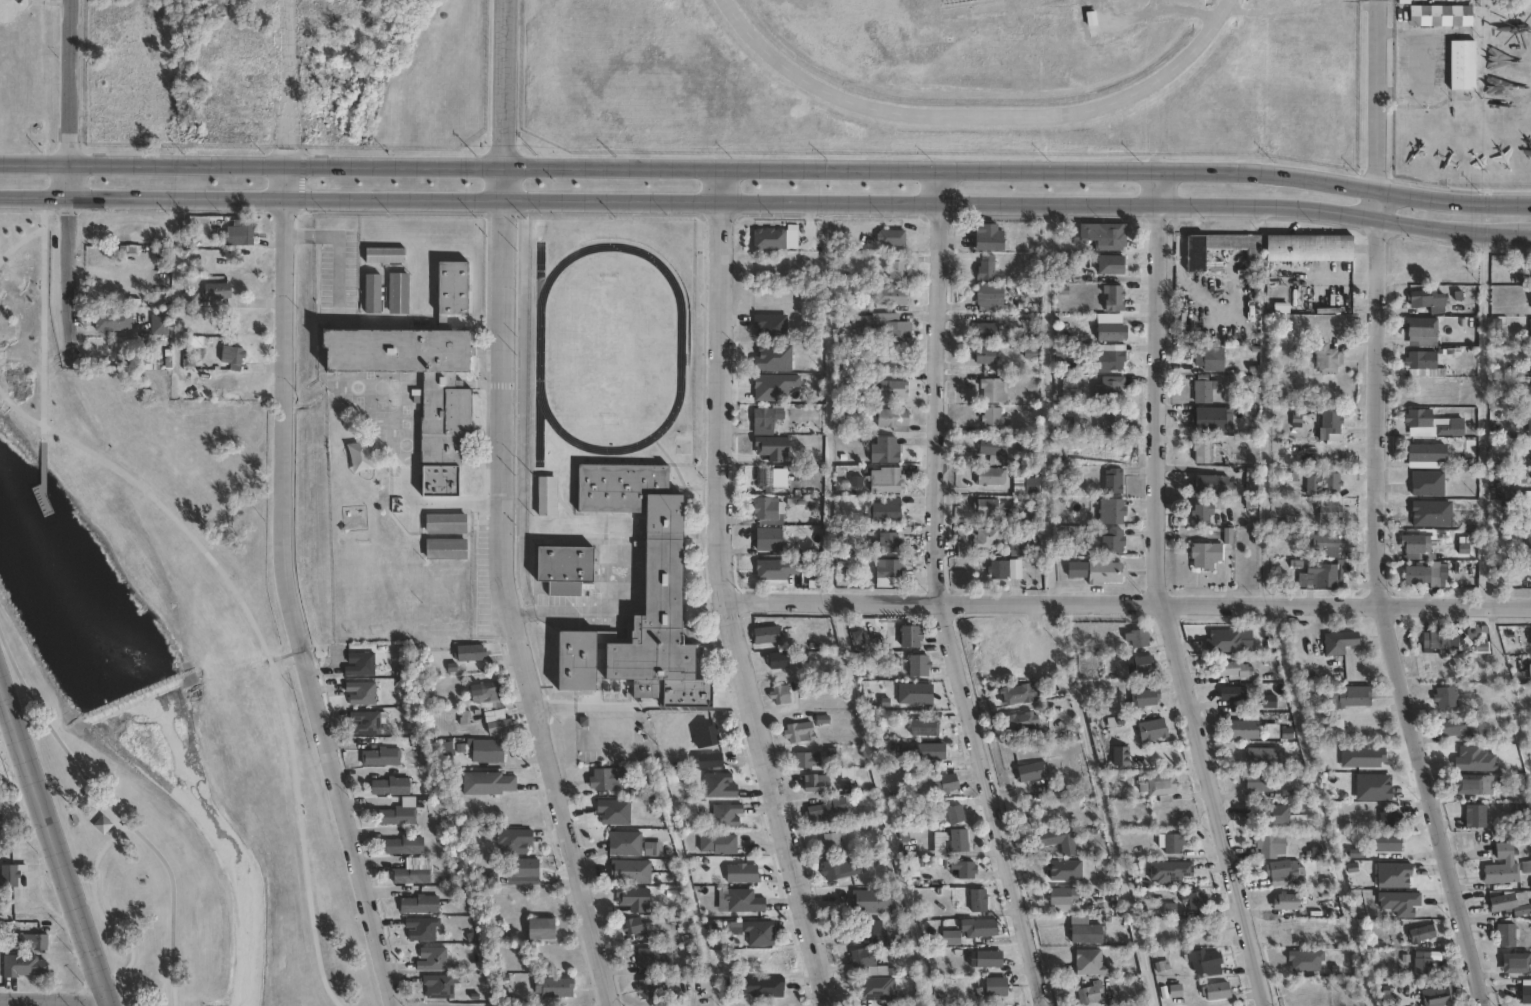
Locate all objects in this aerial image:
building: (1442, 15)
road: (1142, 17)
building: (1461, 63)
park: (23, 64)
airport: (943, 76)
road: (1377, 95)
road: (74, 97)
road: (289, 99)
road: (767, 167)
road: (764, 197)
building: (235, 233)
building: (1102, 236)
building: (890, 237)
building: (985, 237)
road: (1528, 237)
road: (18, 239)
building: (1308, 248)
building: (381, 255)
building: (1194, 255)
building: (1109, 264)
building: (896, 267)
building: (984, 268)
road: (75, 281)
building: (213, 291)
building: (373, 294)
building: (398, 294)
building: (890, 296)
building: (988, 297)
building: (1112, 298)
building: (188, 300)
building: (1427, 300)
building: (860, 320)
building: (109, 321)
building: (157, 325)
building: (769, 326)
building: (1417, 327)
building: (896, 330)
building: (1108, 330)
building: (1496, 330)
building: (986, 331)
building: (1527, 340)
park: (609, 346)
track: (679, 348)
building: (984, 355)
building: (232, 356)
building: (1060, 357)
building: (1107, 358)
building: (1325, 358)
building: (1209, 359)
building: (148, 362)
building: (1424, 364)
building: (422, 375)
road: (282, 386)
building: (891, 389)
building: (1109, 389)
building: (992, 390)
building: (1202, 392)
building: (1528, 395)
road: (1046, 401)
road: (18, 410)
building: (993, 418)
building: (1418, 418)
building: (892, 419)
building: (1530, 419)
building: (764, 420)
building: (1211, 420)
building: (1253, 421)
building: (1114, 422)
road: (1483, 422)
building: (1329, 423)
building: (1451, 428)
building: (1422, 432)
building: (1530, 433)
building: (991, 447)
building: (884, 450)
building: (1202, 452)
building: (1423, 453)
building: (1518, 476)
building: (986, 477)
building: (1251, 478)
building: (767, 480)
building: (884, 480)
building: (1112, 481)
building: (1322, 483)
building: (1210, 484)
building: (1427, 484)
building: (1031, 486)
building: (1512, 494)
building: (546, 495)
building: (985, 507)
building: (764, 508)
road: (500, 510)
building: (883, 511)
building: (1110, 512)
building: (1328, 512)
building: (1022, 513)
building: (1200, 513)
building: (1529, 513)
building: (443, 523)
building: (1287, 523)
building: (768, 539)
building: (985, 539)
building: (1528, 541)
building: (1324, 542)
building: (1112, 543)
building: (885, 544)
building: (1416, 547)
building: (443, 548)
building: (1016, 550)
building: (1204, 556)
building: (661, 562)
building: (561, 563)
building: (997, 570)
building: (1094, 572)
building: (886, 573)
building: (1322, 575)
building: (1416, 575)
road: (222, 576)
road: (724, 593)
road: (935, 594)
road: (1159, 594)
road: (1128, 601)
road: (1383, 604)
building: (765, 635)
building: (909, 636)
building: (1137, 638)
building: (1475, 638)
building: (1435, 639)
building: (1338, 643)
building: (467, 653)
building: (775, 661)
building: (1142, 664)
building: (357, 665)
building: (917, 666)
building: (1529, 669)
building: (1231, 671)
park: (161, 673)
building: (359, 693)
building: (1232, 694)
building: (484, 695)
building: (779, 695)
building: (1016, 695)
building: (1445, 697)
building: (1143, 699)
building: (1344, 704)
building: (493, 716)
building: (1019, 721)
building: (364, 722)
building: (922, 728)
building: (498, 729)
building: (1151, 730)
building: (1242, 730)
building: (1463, 730)
building: (798, 732)
building: (703, 735)
building: (485, 752)
building: (929, 753)
building: (1121, 756)
building: (1261, 757)
building: (378, 758)
building: (712, 759)
building: (804, 761)
building: (1029, 772)
building: (604, 778)
building: (813, 783)
building: (485, 784)
building: (943, 784)
building: (717, 785)
building: (1473, 785)
building: (1339, 786)
building: (387, 787)
building: (1158, 787)
road: (337, 790)
road: (1101, 803)
building: (823, 809)
road: (116, 810)
building: (954, 813)
building: (397, 814)
building: (724, 814)
building: (1275, 816)
building: (1474, 816)
building: (1388, 817)
building: (102, 823)
building: (1047, 836)
building: (957, 839)
building: (511, 840)
building: (1385, 841)
building: (715, 842)
building: (830, 842)
building: (1170, 842)
road: (55, 843)
building: (622, 843)
building: (1269, 843)
building: (401, 846)
building: (652, 848)
building: (1057, 866)
building: (1501, 866)
building: (837, 868)
building: (962, 868)
building: (522, 869)
building: (1169, 870)
building: (1283, 871)
building: (410, 872)
building: (629, 872)
building: (741, 872)
building: (10, 877)
building: (1061, 895)
building: (1195, 898)
building: (747, 899)
building: (976, 899)
building: (1286, 900)
building: (872, 901)
building: (1502, 901)
road: (95, 905)
building: (416, 905)
building: (1522, 910)
building: (631, 925)
building: (978, 925)
building: (537, 928)
building: (870, 928)
building: (419, 929)
building: (758, 931)
building: (1085, 933)
building: (1421, 933)
building: (1506, 933)
building: (950, 937)
building: (34, 943)
building: (430, 958)
building: (653, 958)
building: (984, 958)
building: (856, 959)
building: (1203, 960)
building: (1089, 961)
building: (771, 962)
building: (1424, 962)
building: (1516, 962)
building: (19, 966)
building: (437, 985)
building: (995, 986)
building: (552, 987)
building: (649, 987)
building: (1217, 991)
building: (783, 992)
building: (1089, 993)
building: (1526, 994)
building: (1439, 995)
road: (55, 997)
road: (61, 1002)

